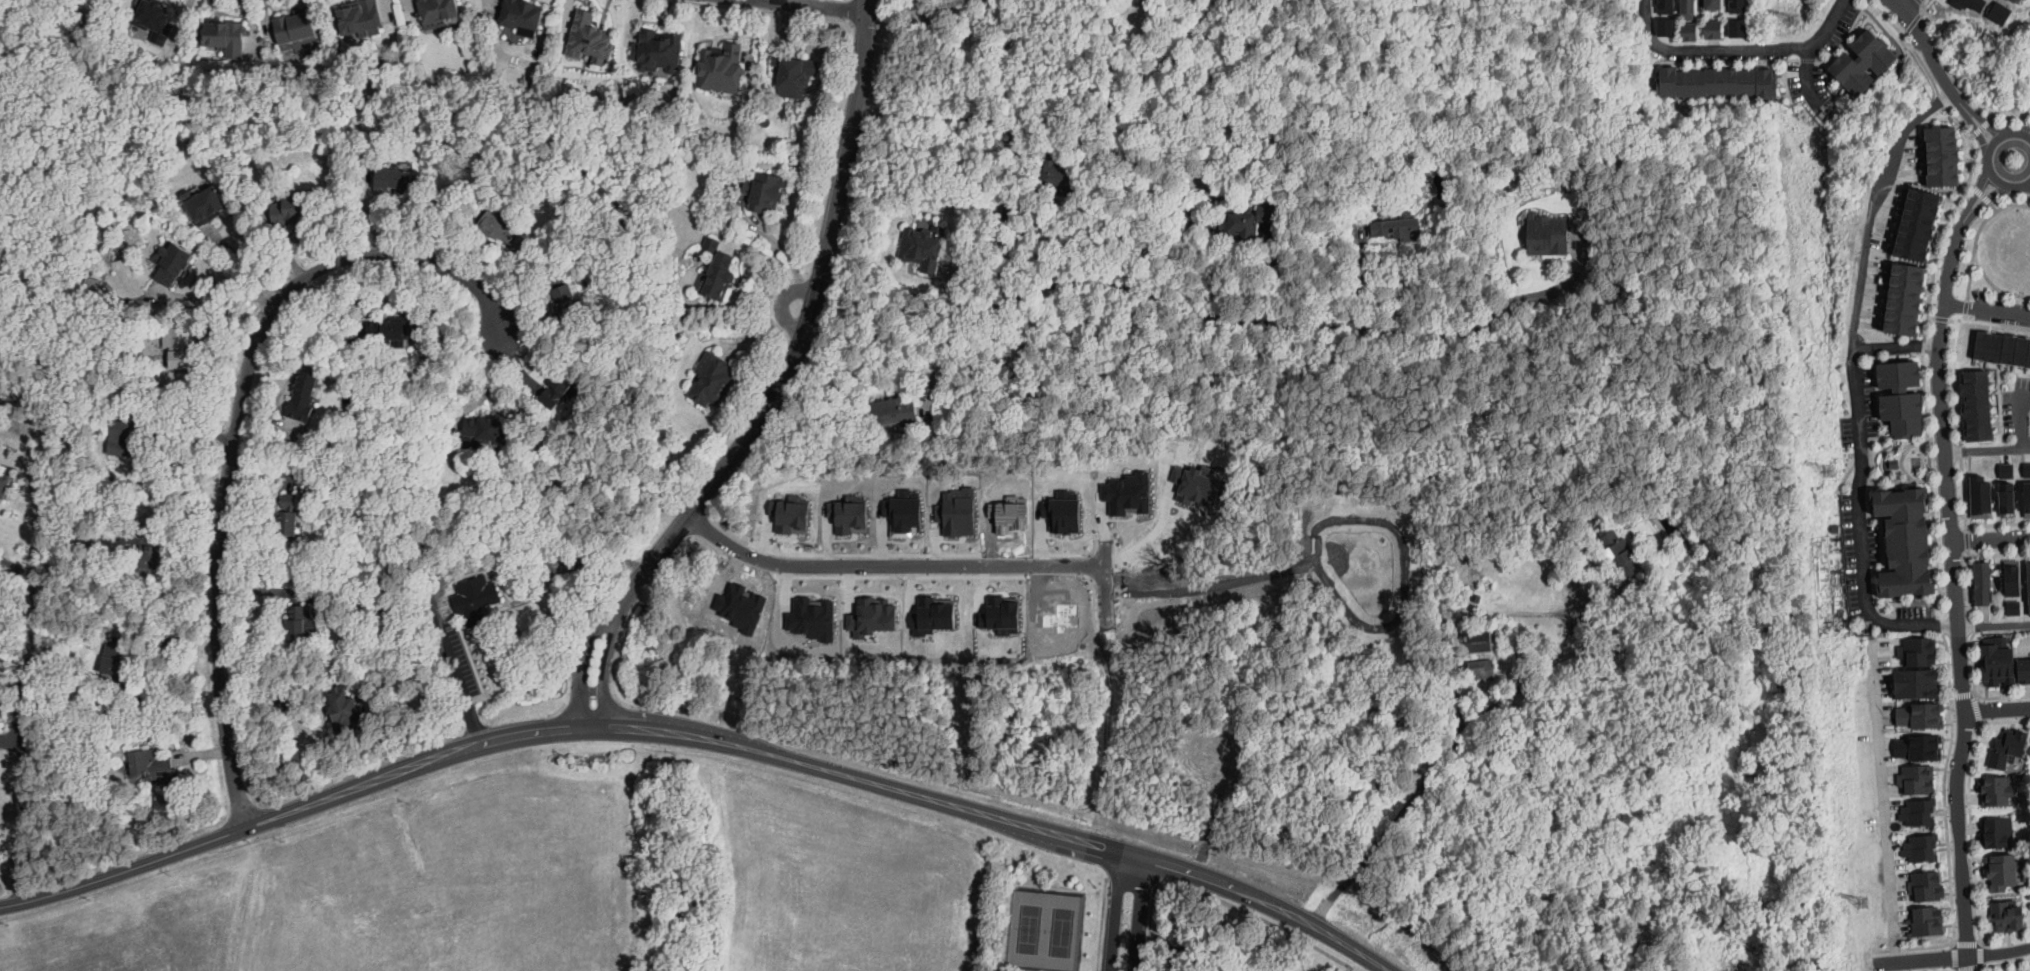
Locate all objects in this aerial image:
building: (2025, 0)
road: (497, 1)
road: (880, 2)
building: (1661, 2)
building: (1734, 3)
building: (1972, 3)
building: (1713, 4)
road: (1909, 4)
road: (811, 6)
building: (1688, 10)
road: (773, 11)
building: (2000, 11)
building: (438, 12)
building: (522, 14)
building: (361, 18)
building: (153, 20)
road: (1915, 21)
power tower: (1794, 23)
building: (1662, 24)
building: (1733, 25)
road: (1917, 26)
building: (1746, 27)
building: (303, 30)
building: (1686, 30)
building: (1714, 30)
building: (225, 36)
road: (33, 38)
building: (589, 39)
road: (1735, 46)
building: (658, 51)
building: (1867, 62)
building: (725, 71)
road: (1943, 73)
building: (794, 76)
road: (1805, 76)
road: (1956, 78)
building: (1674, 83)
building: (1729, 84)
building: (1740, 84)
building: (1719, 85)
building: (1750, 85)
building: (1760, 85)
building: (1774, 85)
building: (1688, 86)
building: (1698, 86)
building: (1709, 86)
road: (1936, 86)
road: (1961, 100)
road: (1008, 117)
road: (1989, 122)
road: (1984, 125)
road: (2024, 129)
road: (1979, 133)
building: (1934, 150)
road: (1988, 159)
building: (1053, 173)
building: (392, 180)
road: (1971, 185)
road: (2025, 186)
road: (1977, 190)
building: (765, 191)
road: (1982, 194)
road: (1986, 199)
building: (205, 205)
road: (1875, 206)
road: (1993, 206)
building: (289, 207)
road: (1004, 217)
building: (1908, 219)
building: (1245, 223)
building: (1398, 228)
building: (502, 231)
road: (1978, 233)
building: (1547, 234)
building: (923, 247)
road: (771, 256)
road: (249, 261)
building: (172, 263)
building: (719, 271)
road: (1979, 277)
building: (91, 282)
road: (1994, 285)
building: (1895, 293)
road: (1140, 294)
road: (1533, 294)
road: (780, 302)
building: (567, 304)
road: (1965, 308)
road: (1986, 309)
road: (1939, 318)
road: (1959, 319)
road: (1997, 323)
building: (392, 329)
road: (1939, 331)
road: (802, 334)
road: (757, 337)
building: (179, 344)
building: (2001, 344)
road: (1956, 345)
building: (711, 380)
road: (489, 385)
building: (557, 389)
road: (789, 394)
building: (304, 396)
building: (1903, 397)
building: (1973, 405)
building: (895, 413)
road: (2023, 418)
road: (237, 423)
road: (185, 430)
building: (480, 431)
building: (122, 438)
road: (1987, 450)
building: (1919, 461)
building: (1895, 463)
power tower: (1828, 472)
building: (1199, 481)
building: (2001, 483)
road: (1859, 484)
building: (2, 488)
building: (2023, 488)
building: (1137, 490)
building: (1978, 491)
building: (1068, 507)
building: (1347, 507)
building: (964, 508)
building: (911, 510)
building: (797, 511)
building: (1017, 511)
building: (856, 513)
building: (289, 516)
road: (1997, 523)
road: (1141, 535)
building: (137, 538)
road: (1991, 538)
building: (1907, 541)
building: (1686, 543)
building: (1237, 549)
building: (150, 551)
road: (1999, 553)
building: (1623, 554)
road: (1968, 559)
road: (889, 565)
road: (1158, 571)
building: (2008, 577)
building: (2029, 579)
road: (1104, 584)
building: (1985, 584)
building: (680, 594)
building: (1476, 598)
building: (475, 599)
building: (750, 599)
road: (1942, 599)
building: (379, 601)
road: (1595, 602)
building: (937, 607)
building: (2010, 607)
building: (878, 610)
building: (1005, 610)
building: (1064, 610)
road: (1535, 612)
building: (821, 614)
building: (1436, 616)
building: (300, 623)
road: (1994, 624)
building: (79, 632)
building: (1439, 635)
building: (1480, 642)
building: (691, 645)
building: (1917, 646)
building: (1917, 658)
building: (1988, 660)
building: (2003, 660)
building: (115, 662)
road: (584, 665)
building: (1481, 667)
road: (604, 669)
building: (2023, 670)
road: (458, 676)
building: (1914, 678)
building: (1408, 681)
building: (1060, 691)
building: (1914, 691)
road: (1975, 692)
road: (1964, 693)
road: (1953, 695)
road: (1977, 706)
road: (1997, 709)
building: (344, 711)
building: (1916, 711)
road: (1965, 711)
road: (2005, 721)
road: (24, 722)
road: (1981, 722)
road: (656, 727)
road: (11, 740)
building: (1915, 743)
building: (2007, 748)
building: (2029, 748)
building: (153, 767)
building: (1914, 774)
road: (1428, 778)
building: (1913, 787)
building: (1998, 790)
road: (1884, 797)
building: (1915, 812)
road: (1972, 831)
building: (1998, 832)
building: (1919, 848)
building: (1997, 871)
building: (1926, 885)
crop: (844, 886)
crop: (391, 891)
building: (646, 894)
road: (1104, 897)
power tower: (1864, 903)
road: (1115, 910)
road: (1138, 914)
building: (2002, 917)
building: (1927, 921)
park: (1030, 922)
road: (1150, 924)
park: (1063, 925)
road: (1197, 940)
road: (1966, 942)
road: (1352, 947)
road: (1981, 954)
road: (1953, 956)
road: (1954, 956)
road: (2004, 962)
road: (1297, 967)
road: (1944, 970)
road: (1968, 970)
building: (2027, 970)

